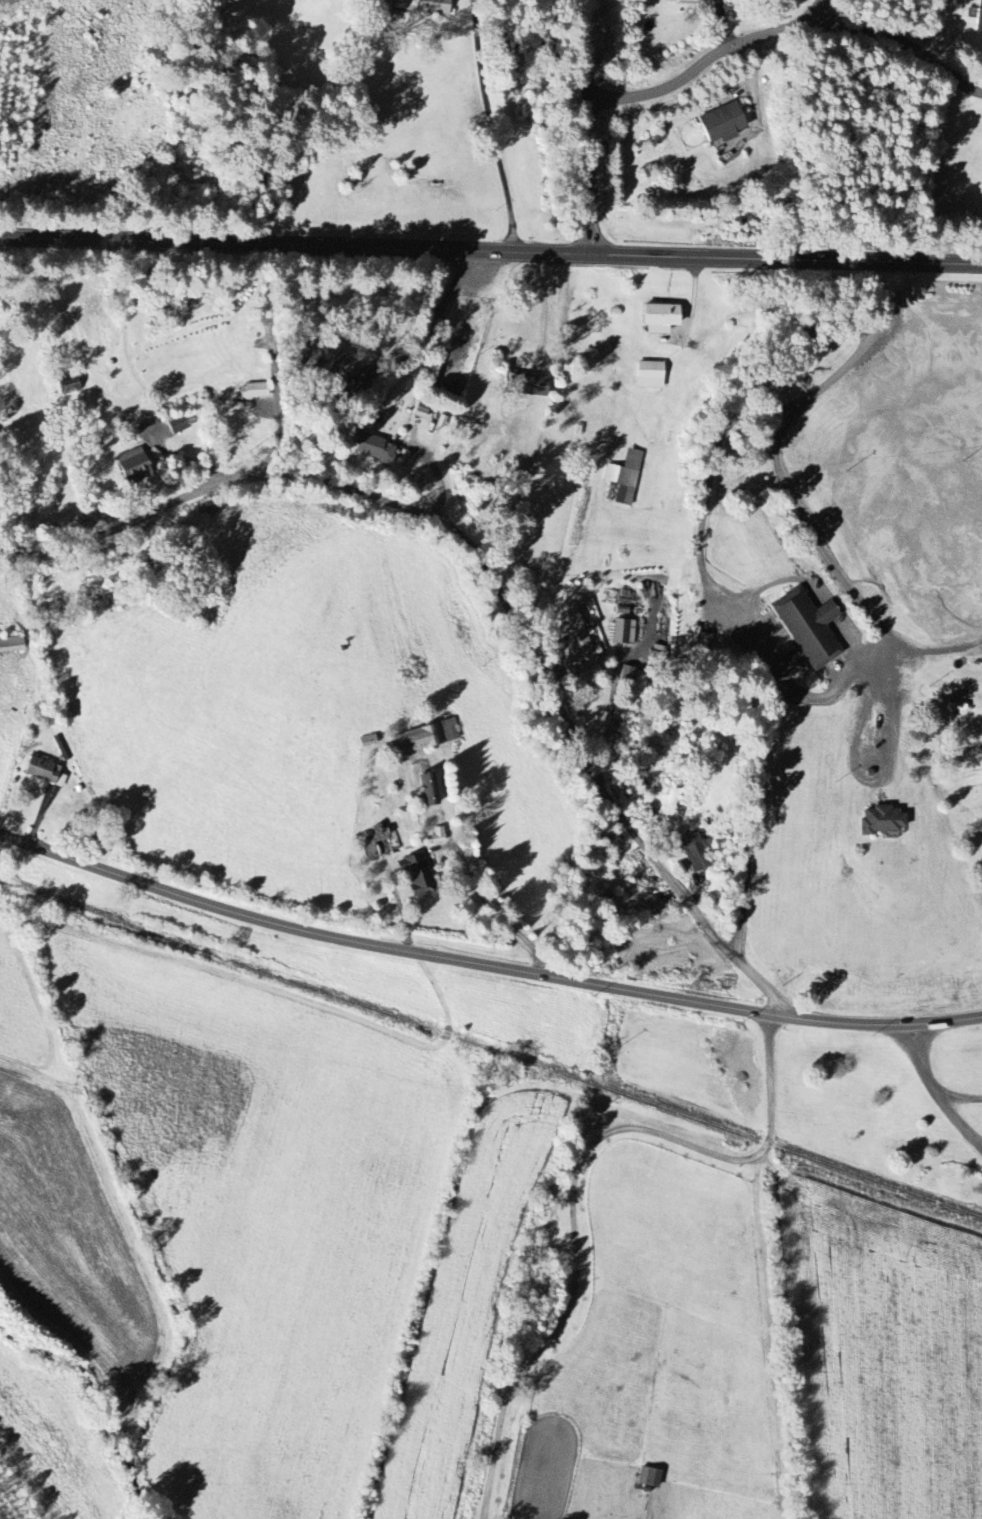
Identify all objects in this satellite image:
building: (684, 0)
building: (423, 6)
road: (815, 13)
building: (979, 17)
road: (788, 29)
building: (722, 123)
road: (495, 125)
road: (593, 126)
road: (491, 249)
building: (660, 318)
road: (430, 322)
building: (325, 356)
building: (650, 375)
building: (525, 384)
building: (69, 385)
building: (254, 390)
building: (178, 424)
road: (278, 441)
building: (377, 449)
building: (133, 465)
building: (625, 476)
road: (479, 482)
road: (496, 567)
building: (809, 628)
building: (624, 632)
building: (705, 641)
building: (578, 642)
building: (11, 645)
road: (871, 660)
building: (627, 672)
building: (426, 737)
building: (367, 741)
building: (63, 748)
building: (45, 772)
road: (883, 778)
building: (428, 789)
road: (753, 817)
building: (882, 820)
building: (437, 835)
building: (698, 854)
building: (417, 873)
road: (484, 968)
railway: (490, 1053)
road: (922, 1062)
road: (962, 1098)
road: (960, 1122)
road: (585, 1180)
building: (649, 1477)

